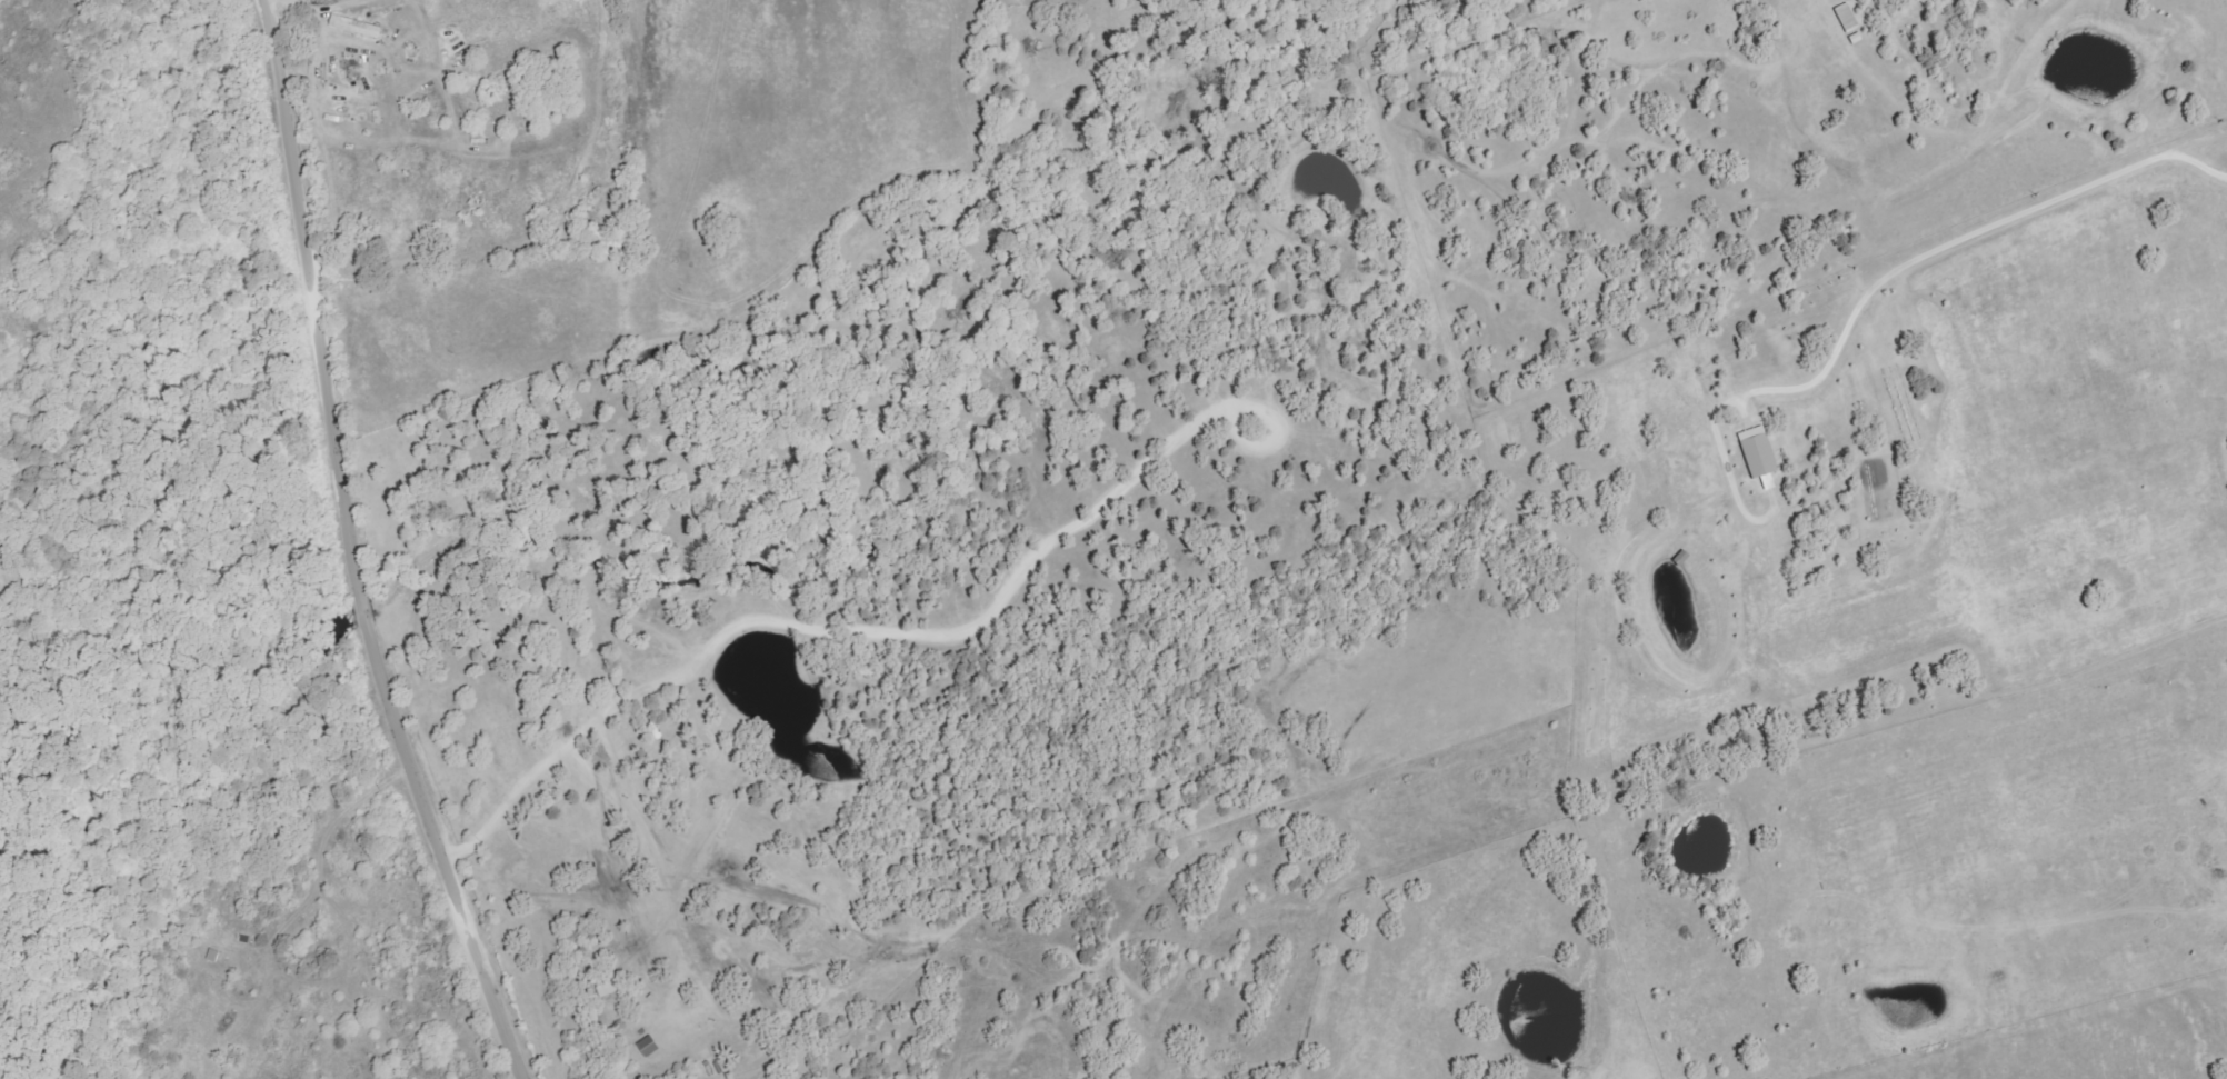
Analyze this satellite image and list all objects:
road: (268, 3)
road: (271, 3)
building: (356, 26)
road: (1970, 237)
building: (1759, 452)
road: (358, 551)
building: (648, 1046)

